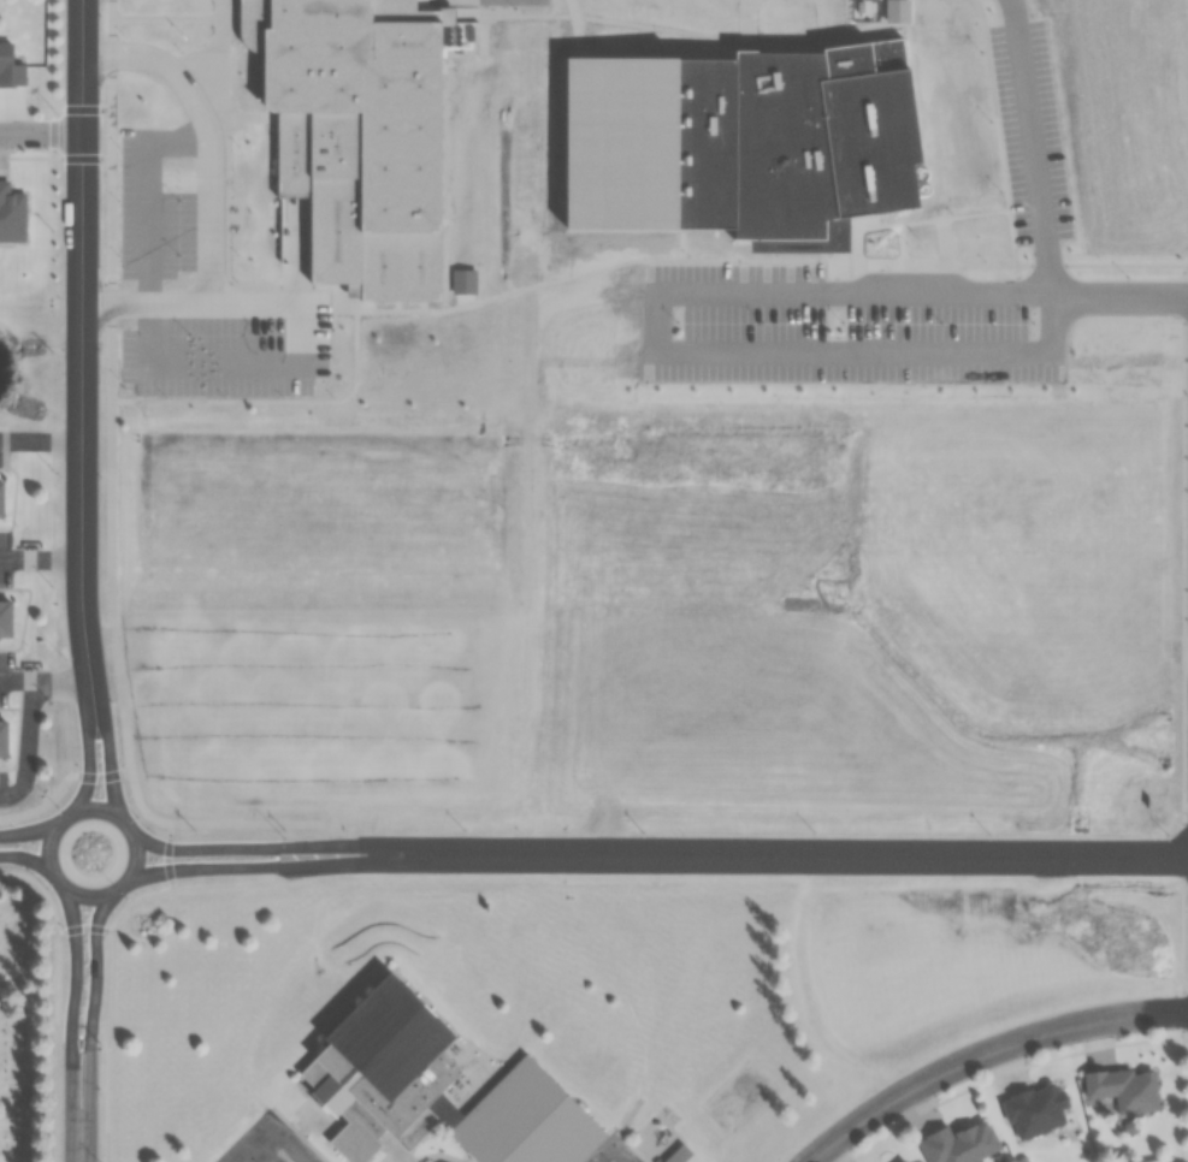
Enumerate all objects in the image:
building: (10, 69)
road: (77, 83)
road: (39, 132)
parking lot: (1023, 135)
building: (347, 138)
building: (856, 138)
road: (1023, 148)
building: (605, 156)
building: (738, 159)
road: (207, 192)
road: (850, 296)
road: (71, 297)
road: (1115, 298)
road: (657, 325)
parking lot: (832, 330)
road: (879, 356)
road: (34, 441)
building: (0, 500)
road: (34, 559)
road: (69, 561)
building: (4, 618)
road: (41, 681)
building: (2, 737)
road: (29, 747)
road: (100, 752)
road: (81, 757)
road: (25, 830)
road: (48, 834)
road: (255, 855)
road: (787, 855)
road: (22, 864)
road: (255, 868)
road: (65, 1002)
road: (85, 1002)
park: (25, 1021)
road: (983, 1050)
building: (1123, 1089)
building: (425, 1091)
park: (740, 1093)
building: (1034, 1109)
street lamp: (102, 1133)
road: (76, 1137)
road: (613, 1140)
building: (958, 1144)
building: (235, 1146)
road: (265, 1149)
road: (291, 1149)
parking lot: (278, 1155)
parking lot: (605, 1156)
building: (675, 1158)
building: (902, 1161)

